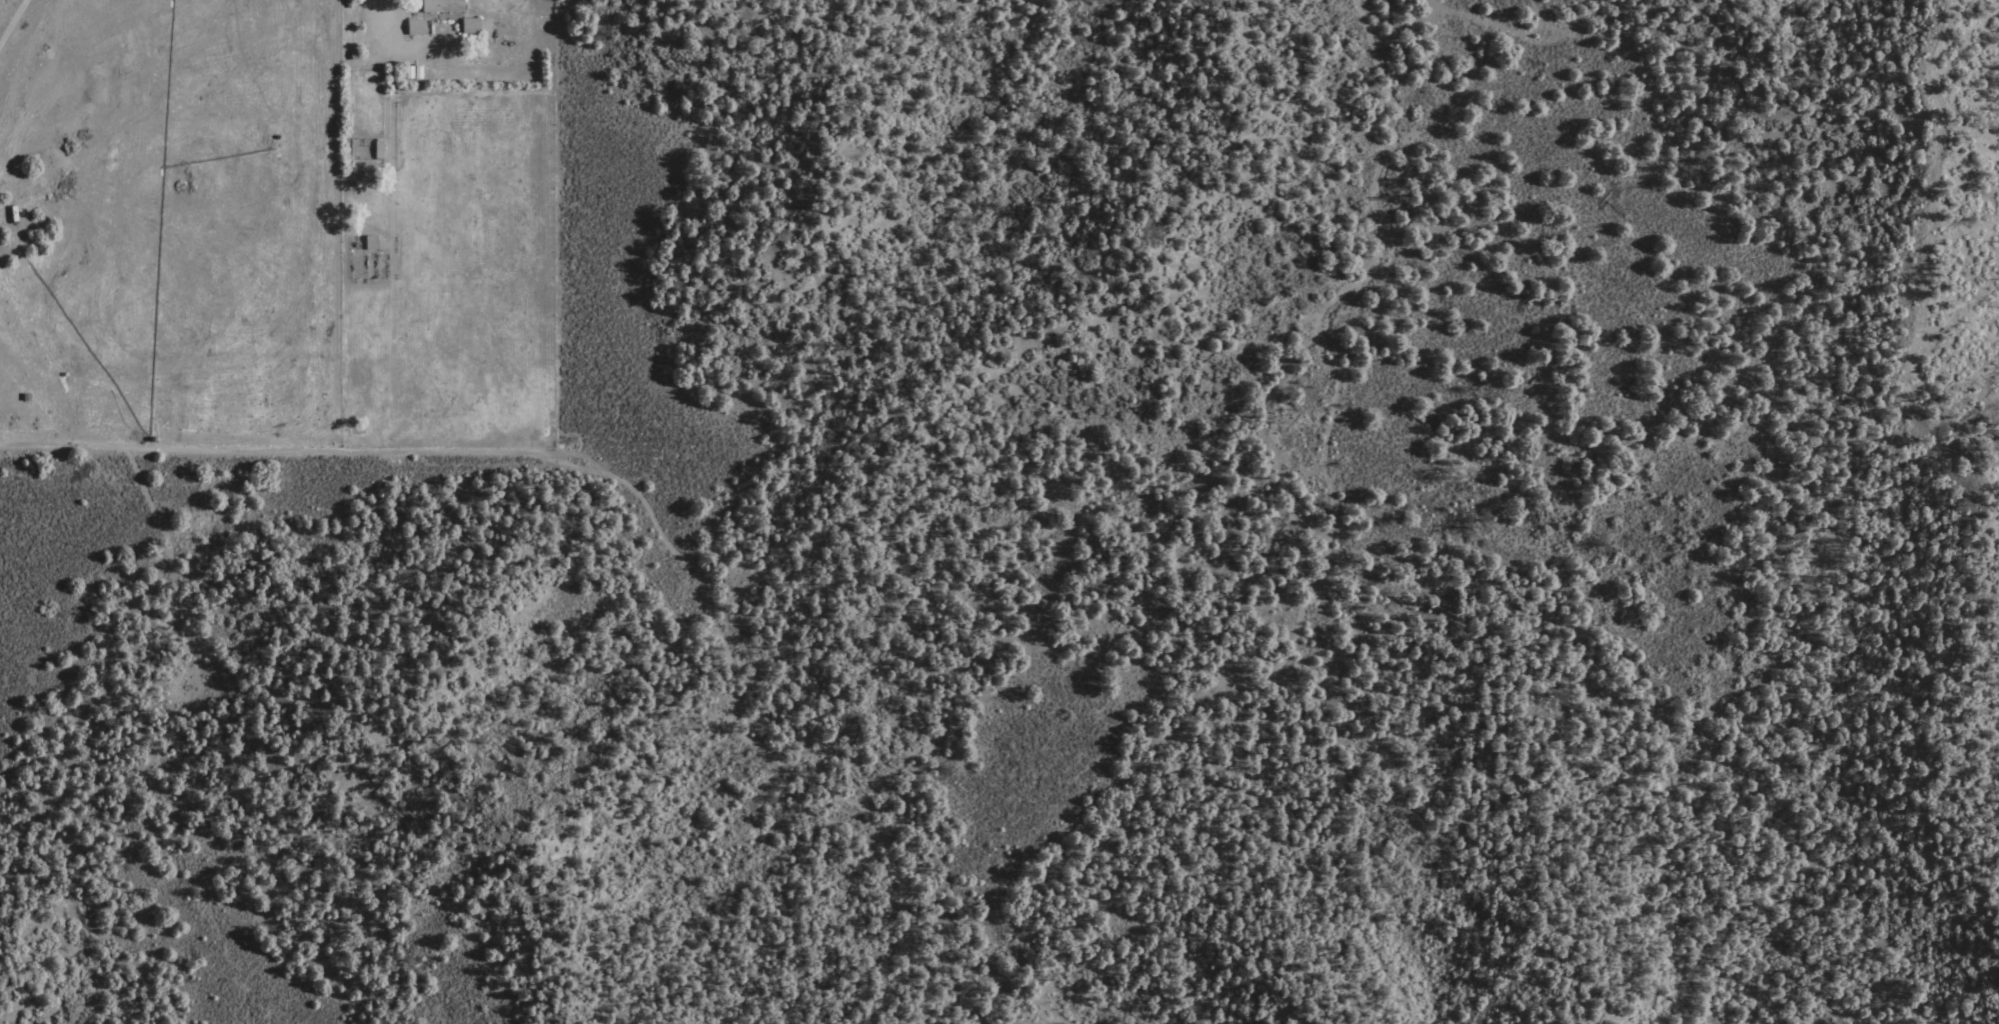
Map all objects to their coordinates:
building: (437, 4)
road: (10, 18)
road: (389, 19)
building: (476, 24)
building: (416, 25)

